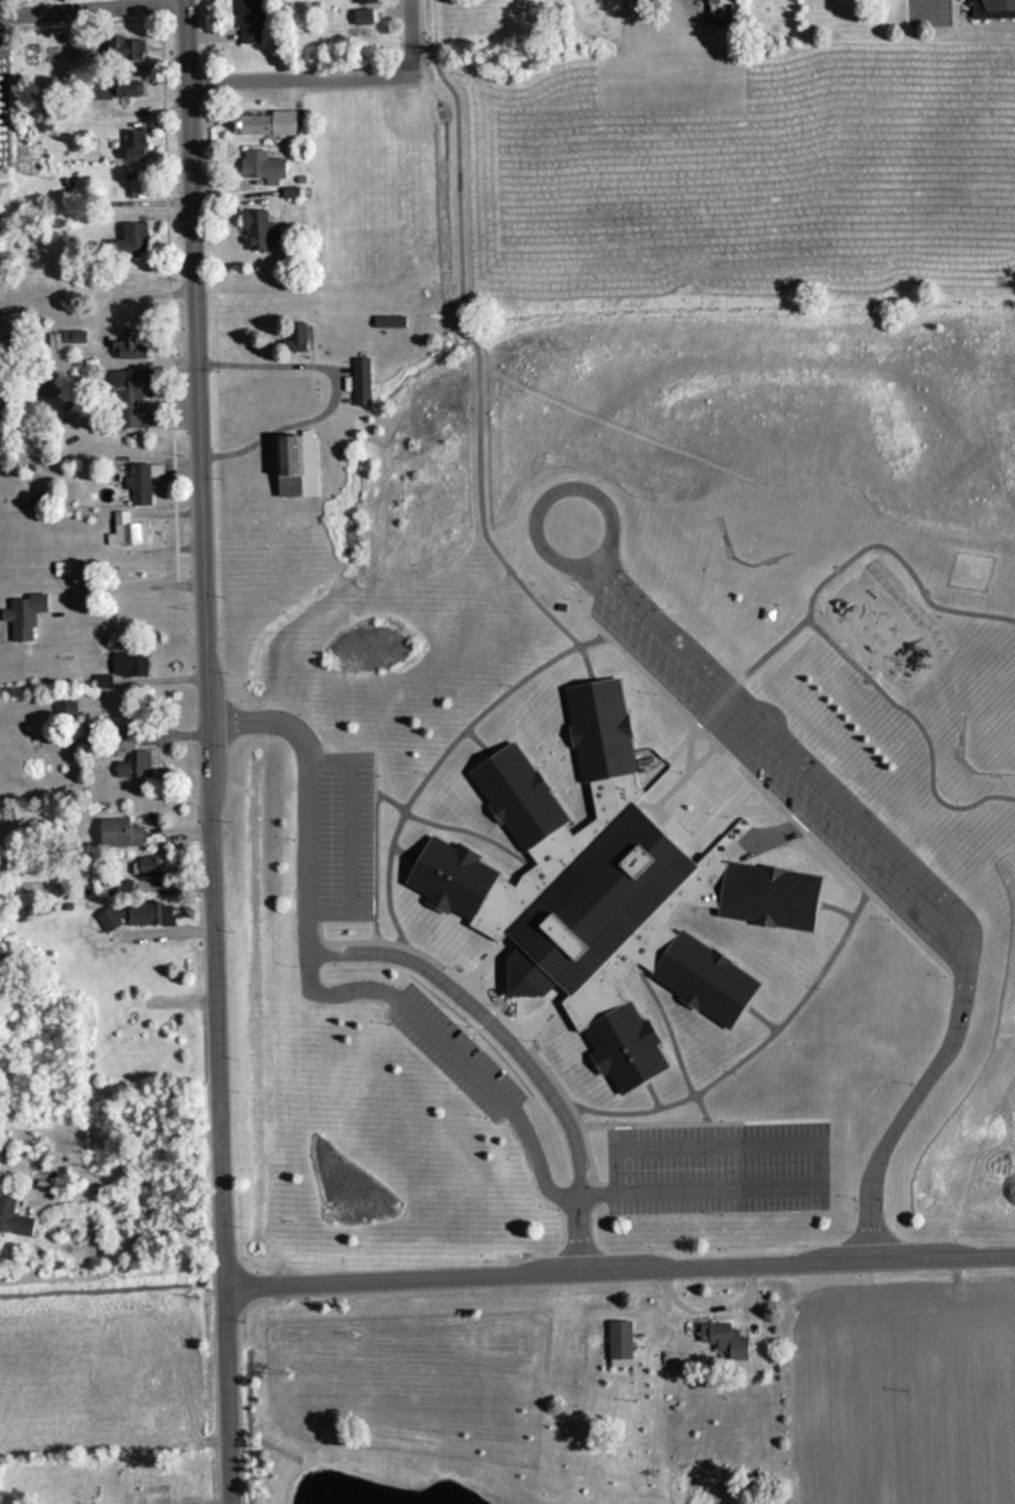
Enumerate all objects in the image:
building: (363, 2)
road: (406, 2)
building: (716, 2)
building: (989, 10)
building: (247, 21)
building: (129, 49)
building: (112, 88)
building: (290, 115)
building: (248, 121)
building: (132, 144)
building: (257, 166)
building: (135, 188)
building: (252, 230)
building: (130, 239)
building: (387, 320)
building: (131, 342)
building: (359, 381)
building: (44, 386)
building: (128, 396)
building: (291, 465)
building: (137, 482)
building: (125, 529)
road: (852, 553)
building: (122, 666)
road: (918, 724)
road: (211, 751)
building: (127, 755)
road: (820, 780)
building: (117, 831)
building: (148, 864)
building: (600, 892)
building: (135, 913)
road: (384, 955)
road: (450, 1055)
building: (13, 1219)
road: (619, 1262)
building: (617, 1339)
building: (723, 1339)
building: (147, 1492)

